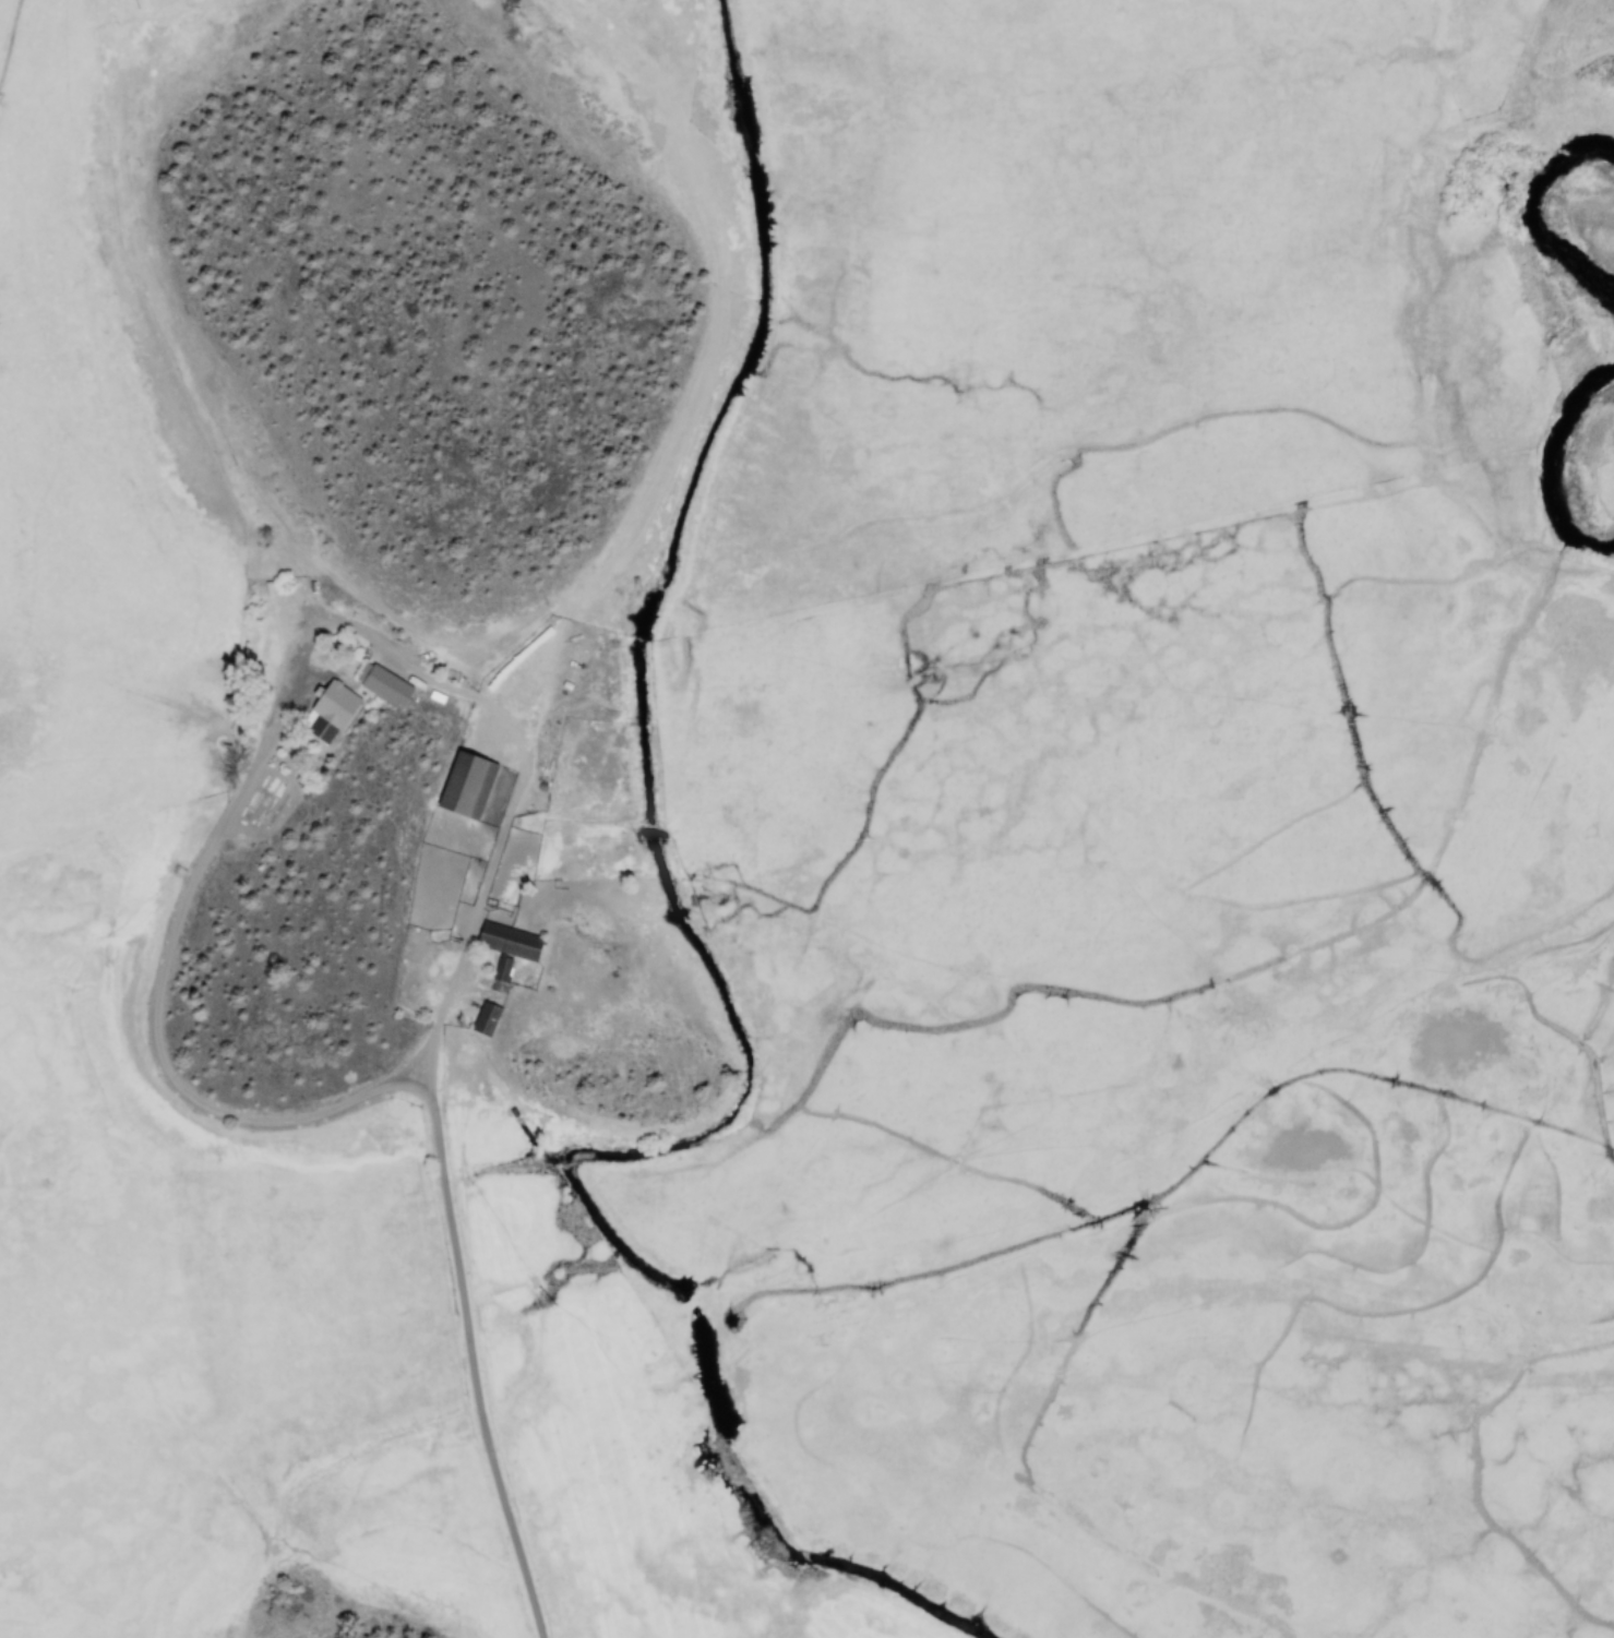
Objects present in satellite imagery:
river: (1528, 219)
river: (1549, 471)
building: (384, 685)
building: (330, 710)
building: (465, 785)
building: (433, 828)
building: (506, 946)
building: (485, 1018)
road: (408, 1088)

